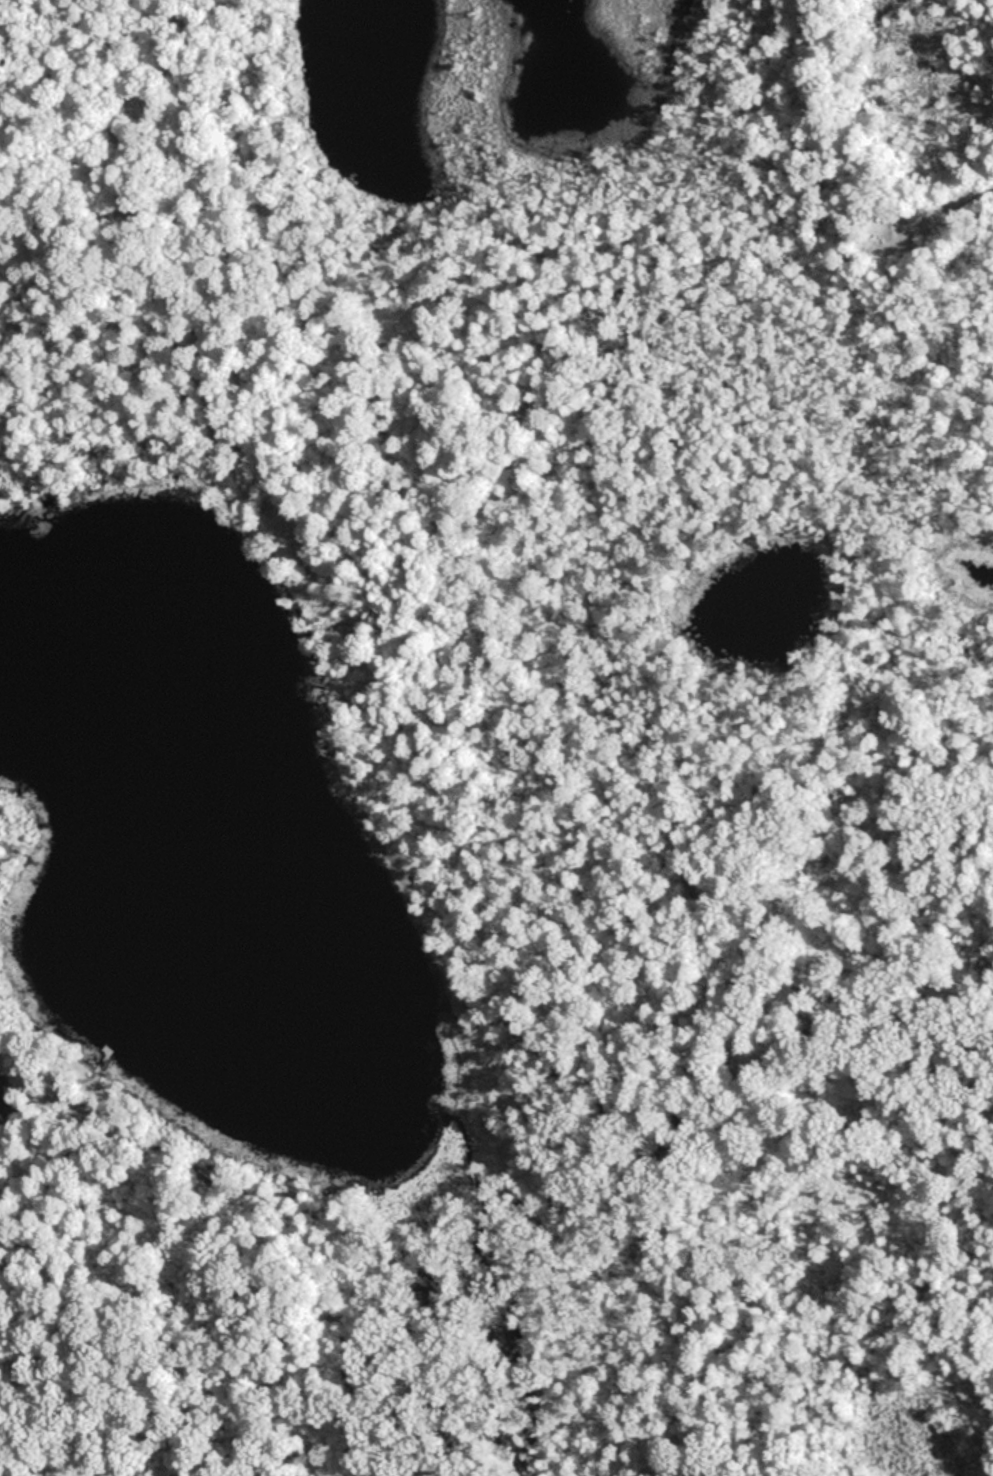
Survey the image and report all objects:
building: (6, 1102)

